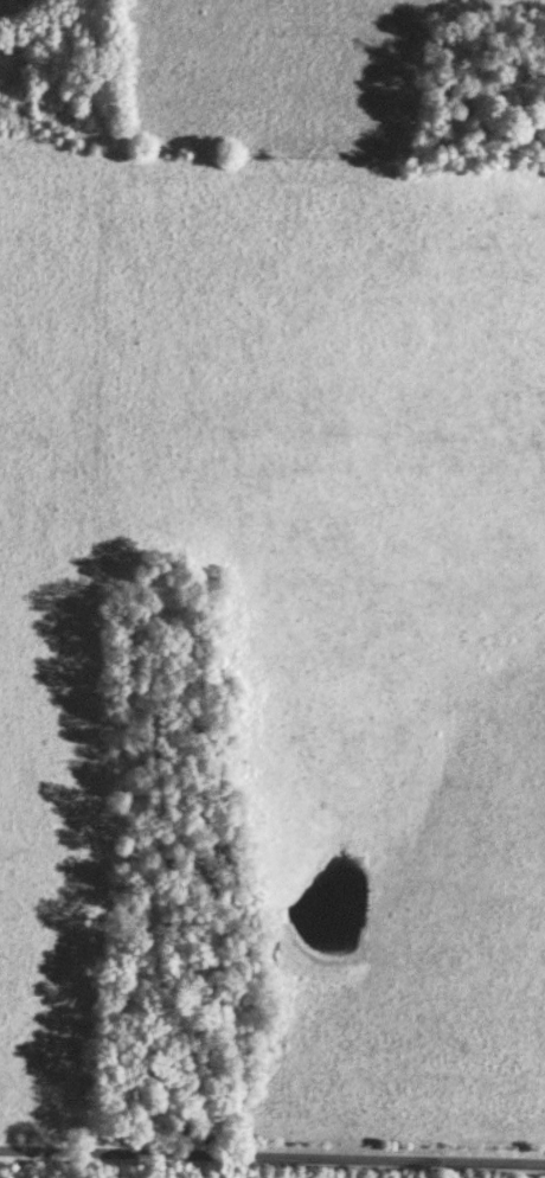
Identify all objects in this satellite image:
road: (272, 1155)

